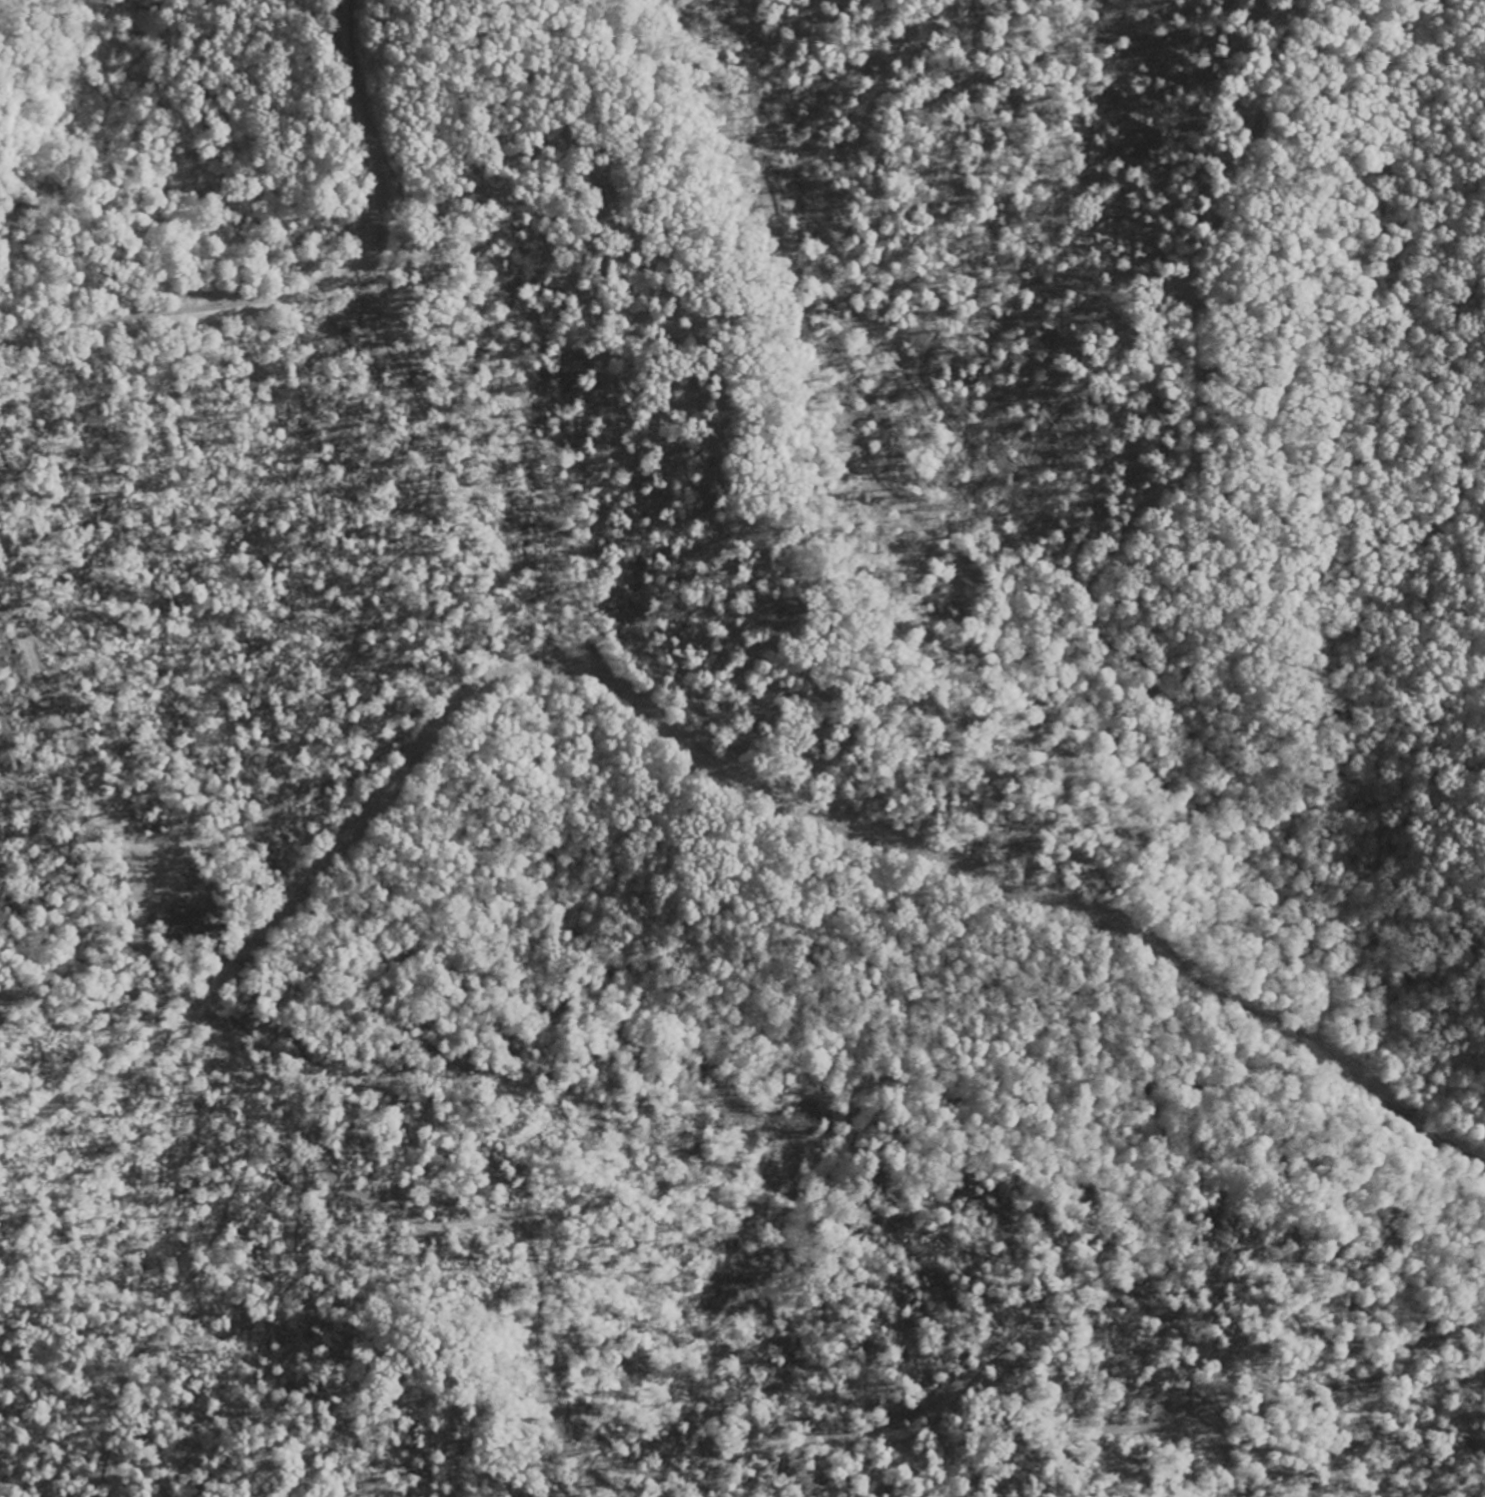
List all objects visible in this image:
road: (317, 292)

